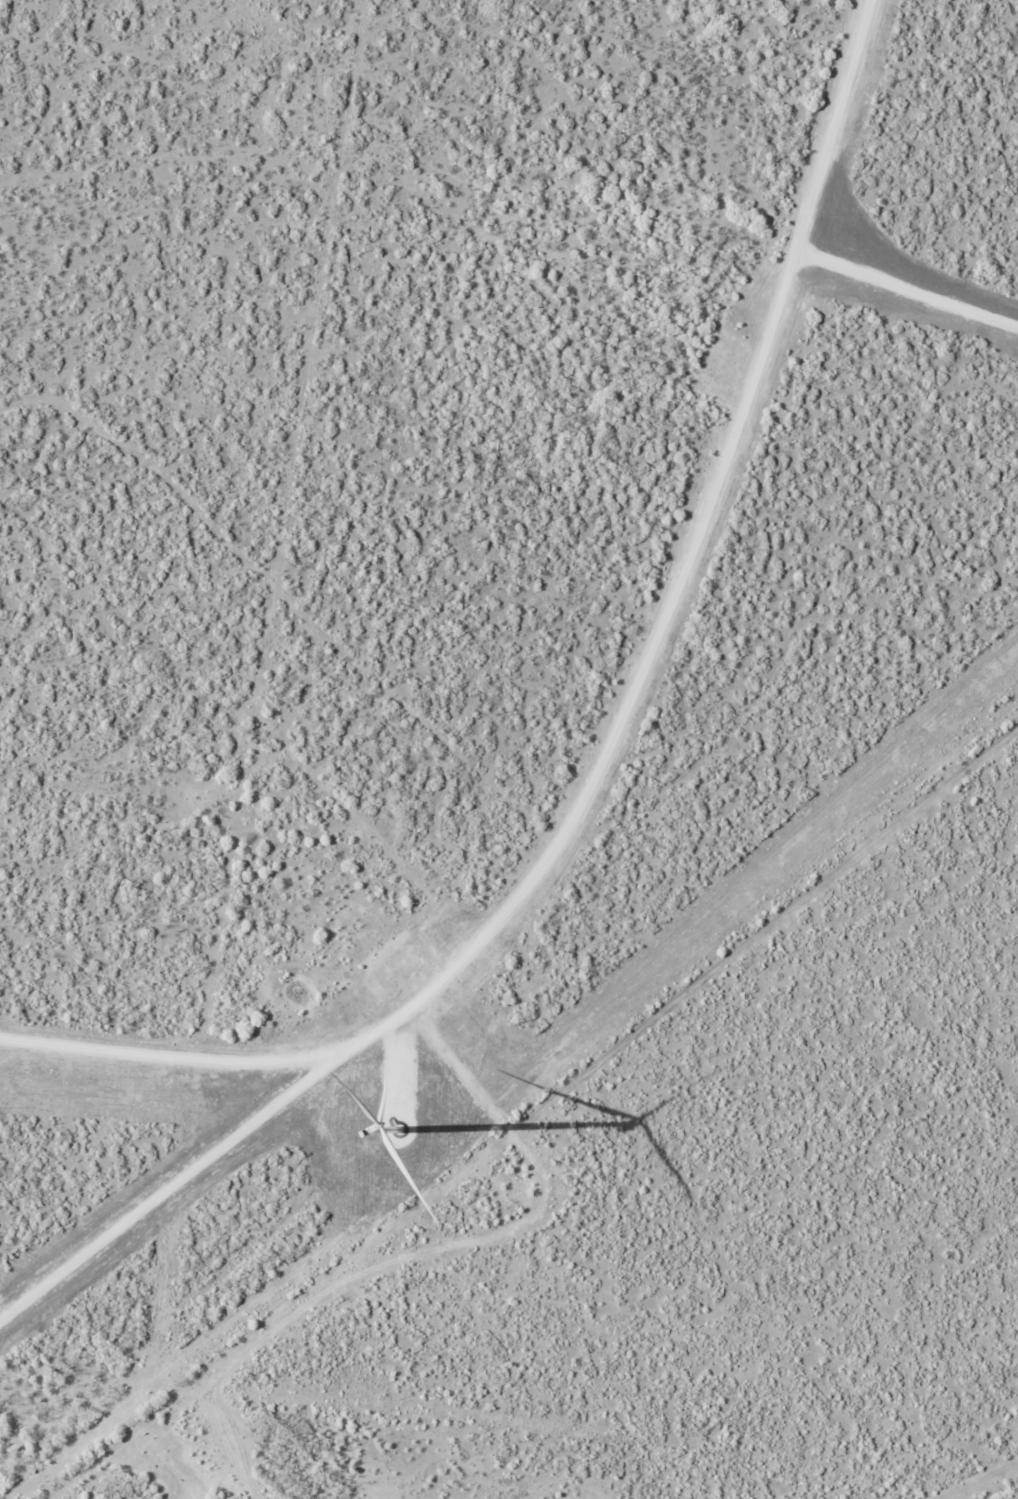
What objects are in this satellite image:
wind turbine: (393, 1130)

